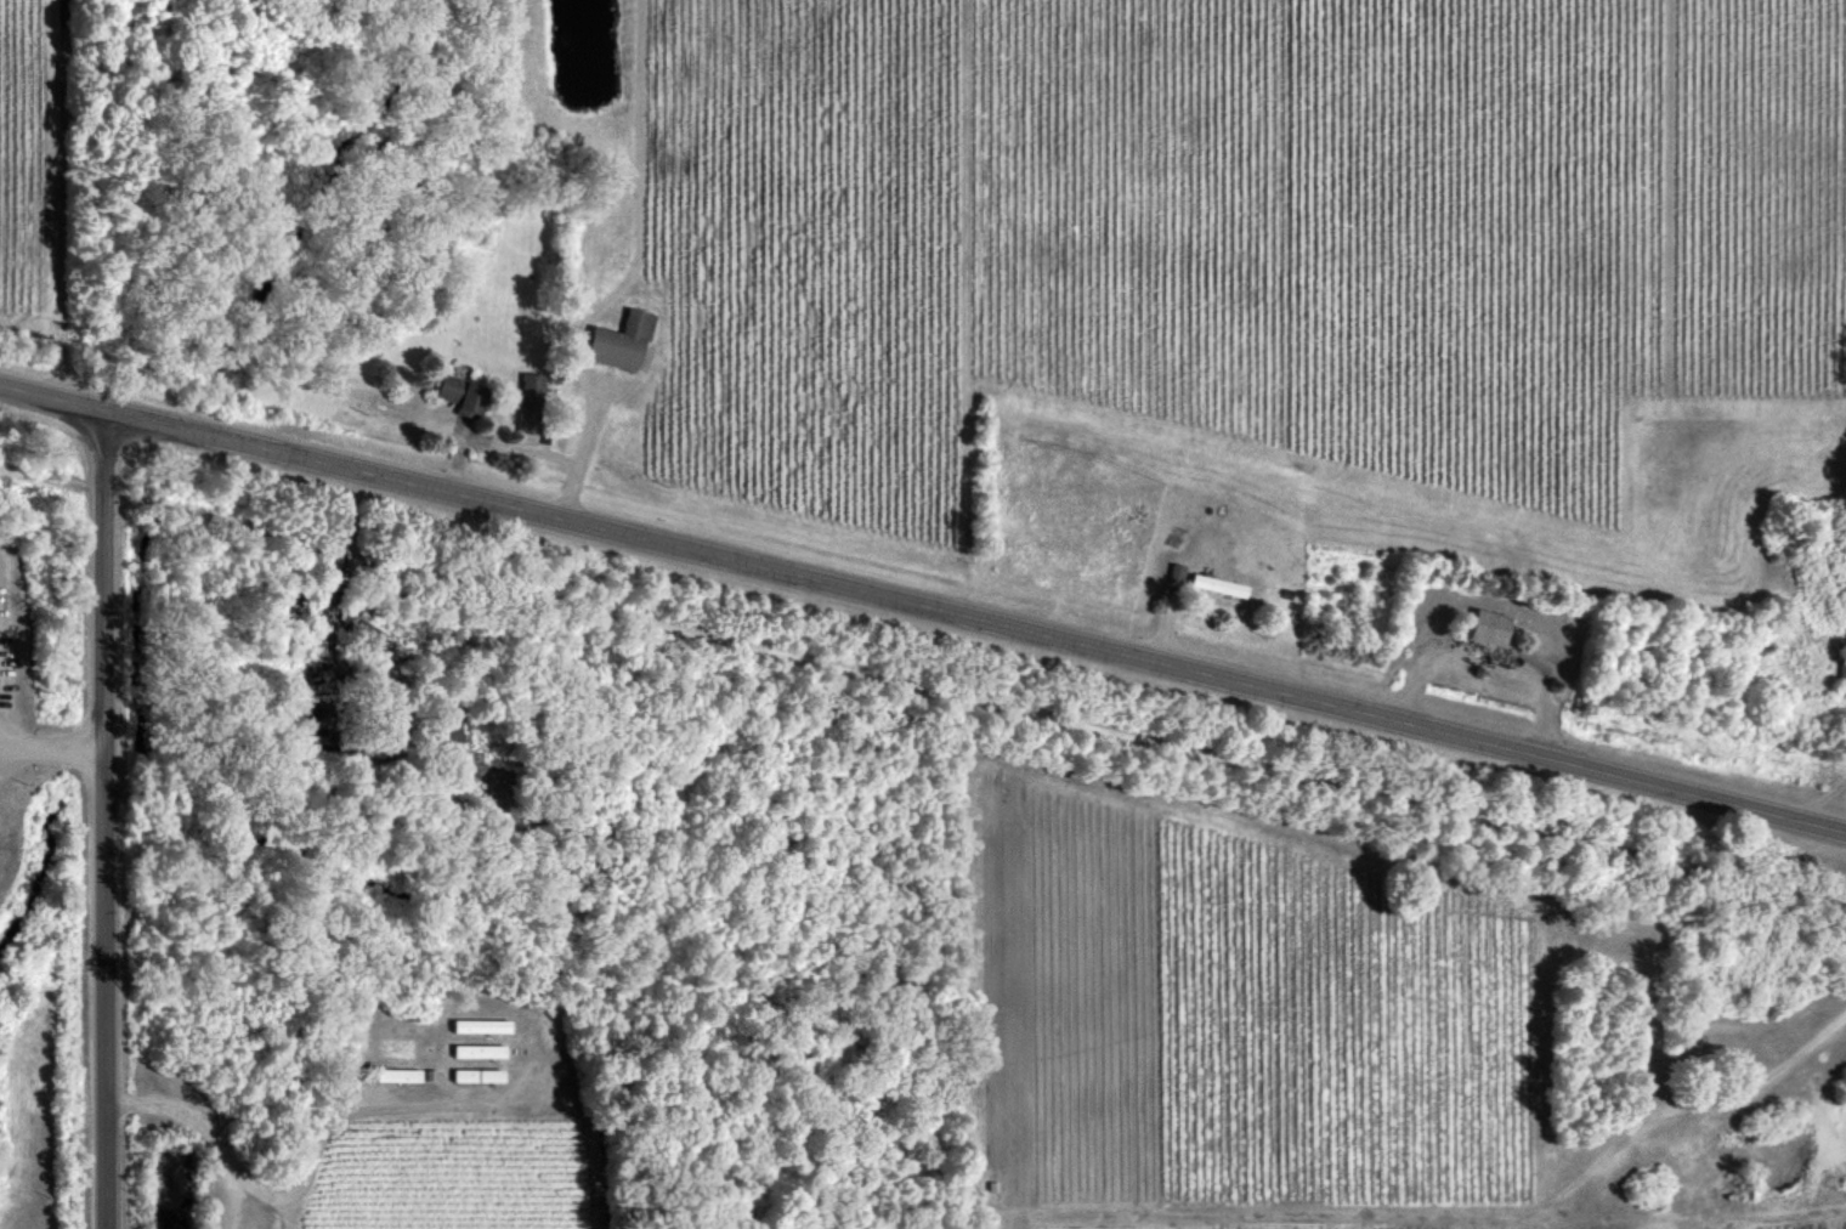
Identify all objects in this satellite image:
road: (67, 198)
building: (621, 340)
building: (460, 393)
building: (530, 401)
road: (339, 568)
building: (1218, 584)
road: (923, 601)
building: (1490, 625)
building: (1841, 673)
road: (922, 690)
road: (104, 817)
building: (480, 1025)
building: (477, 1050)
building: (397, 1074)
building: (476, 1075)
road: (313, 1155)

